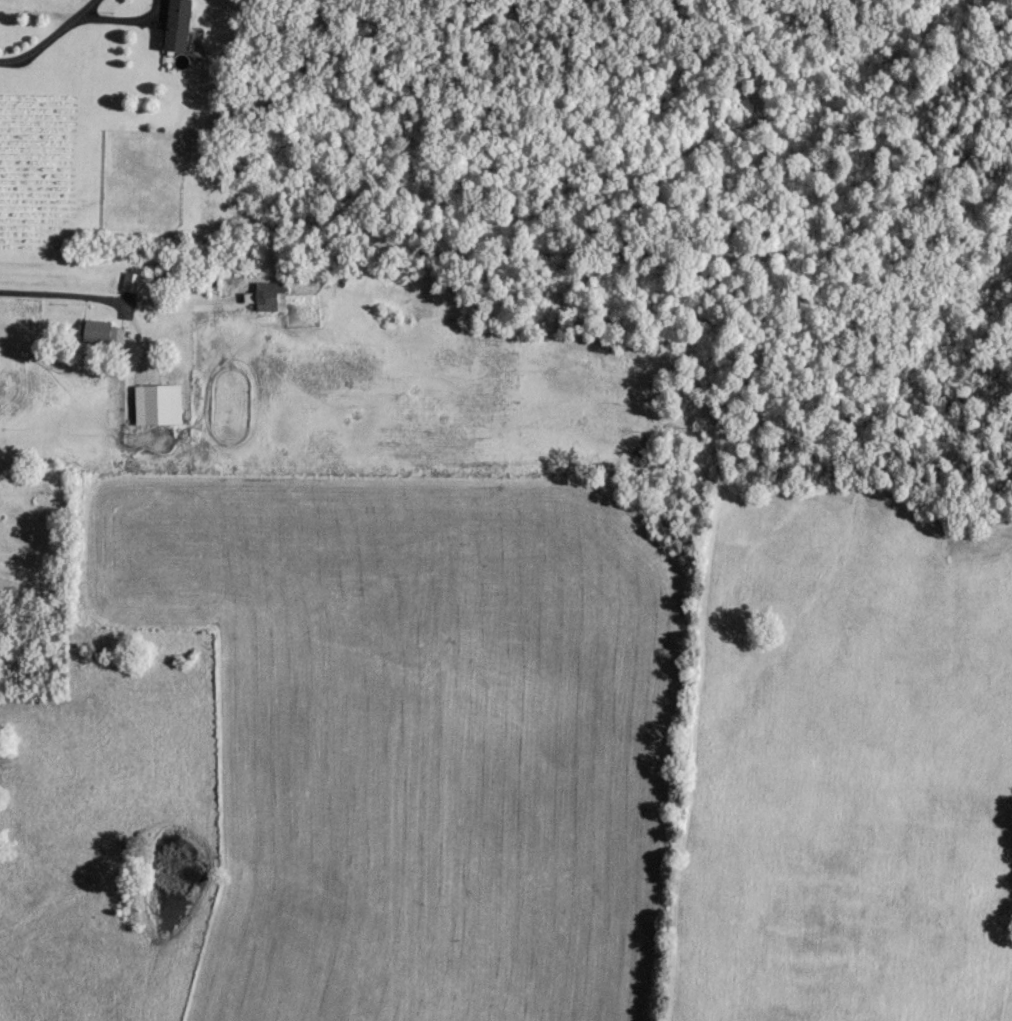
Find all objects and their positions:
road: (86, 9)
road: (123, 22)
building: (174, 24)
road: (40, 46)
road: (100, 292)
building: (265, 294)
road: (175, 297)
building: (100, 331)
building: (160, 402)

